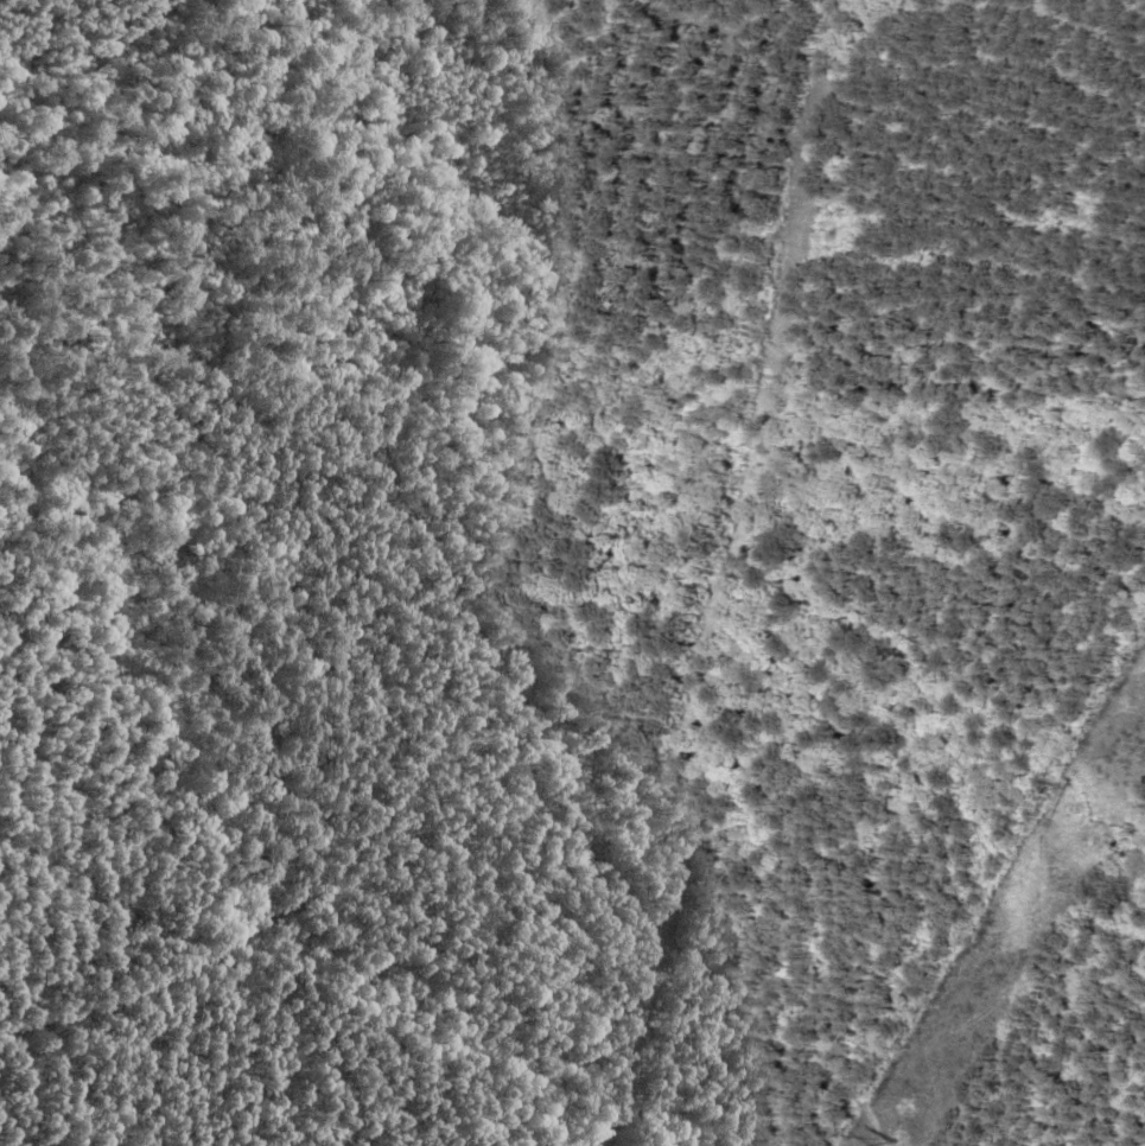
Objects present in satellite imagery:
power tower: (890, 1141)

